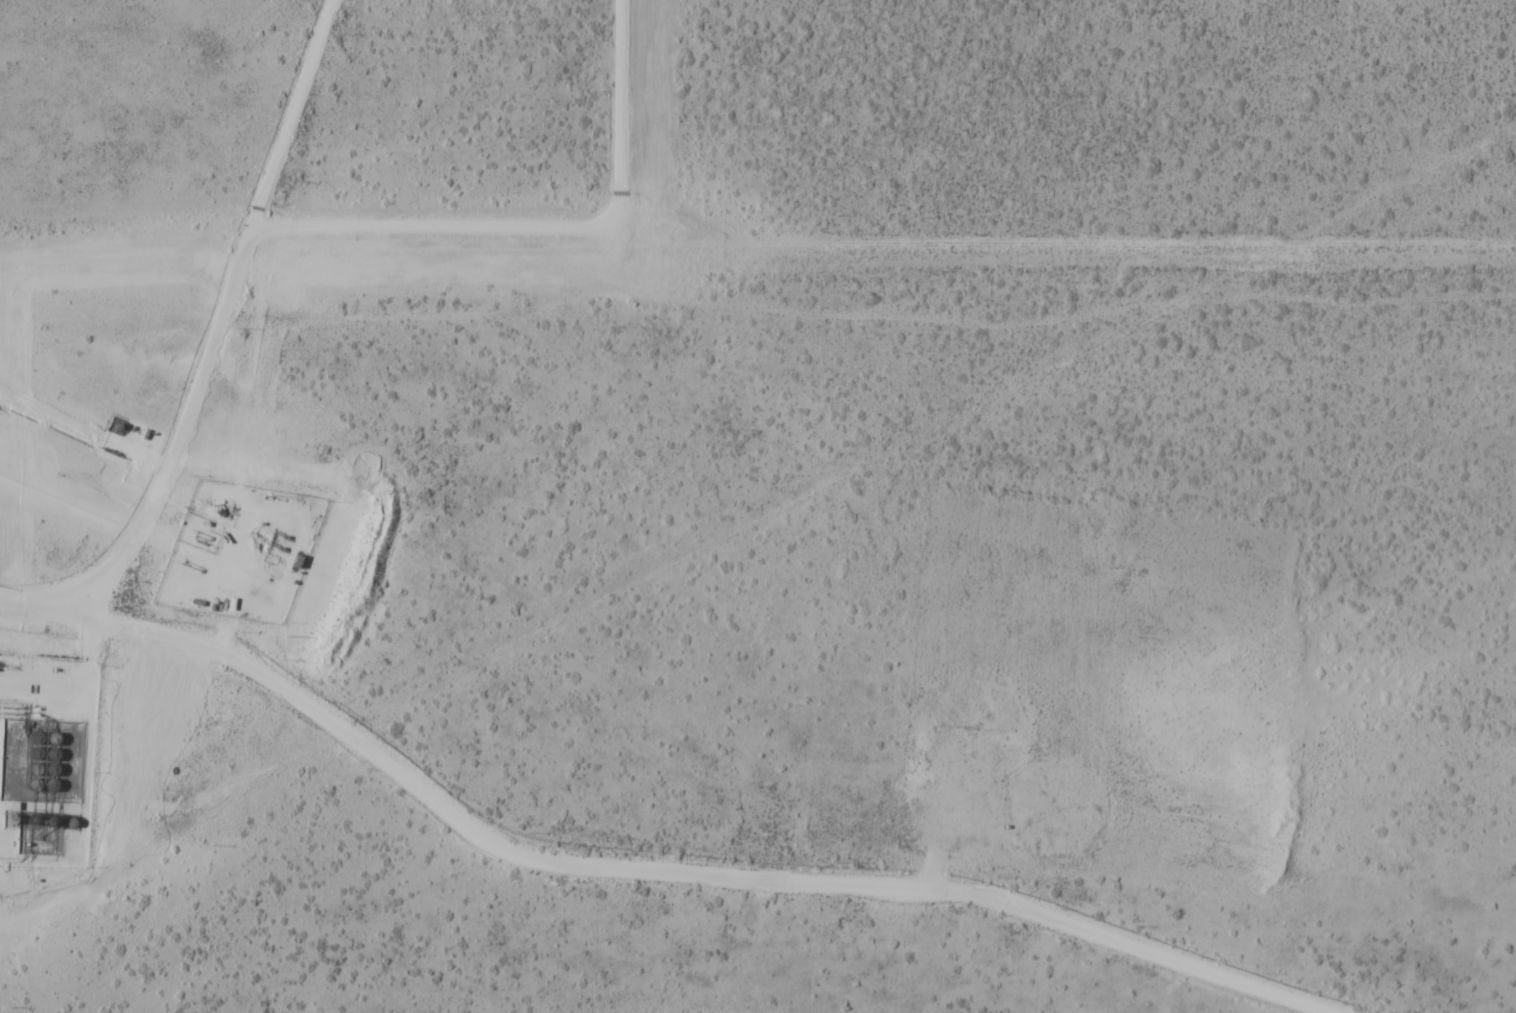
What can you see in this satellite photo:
road: (311, 326)
road: (635, 868)

